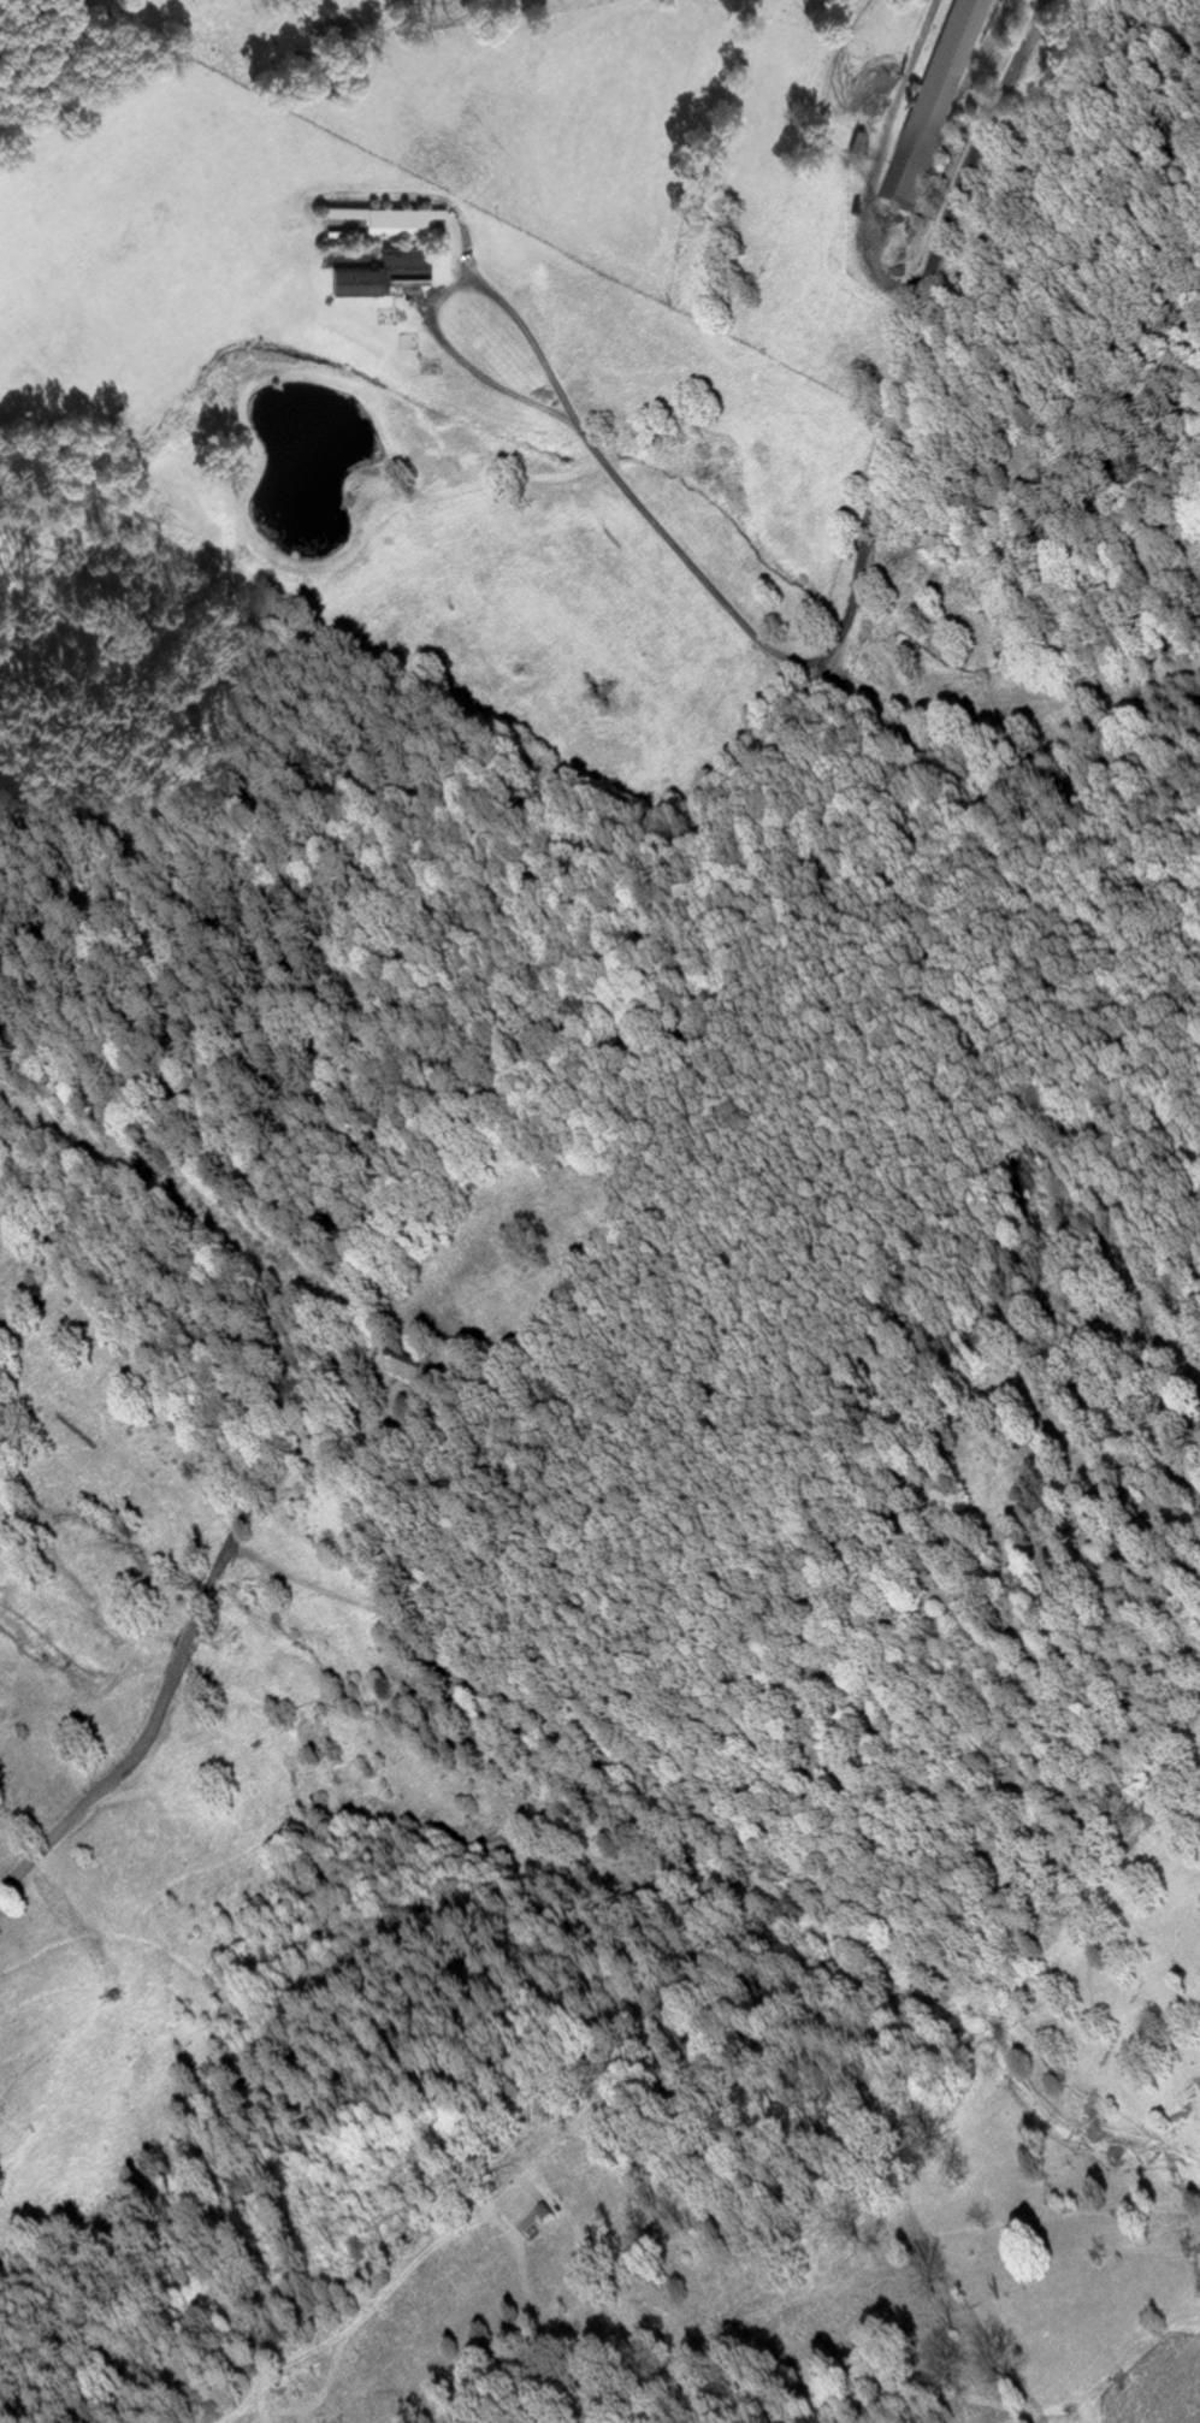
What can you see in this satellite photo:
building: (995, 0)
building: (935, 100)
road: (874, 159)
building: (386, 218)
building: (395, 268)
road: (564, 395)
road: (605, 989)
building: (408, 1370)
building: (361, 1452)
building: (544, 2212)

